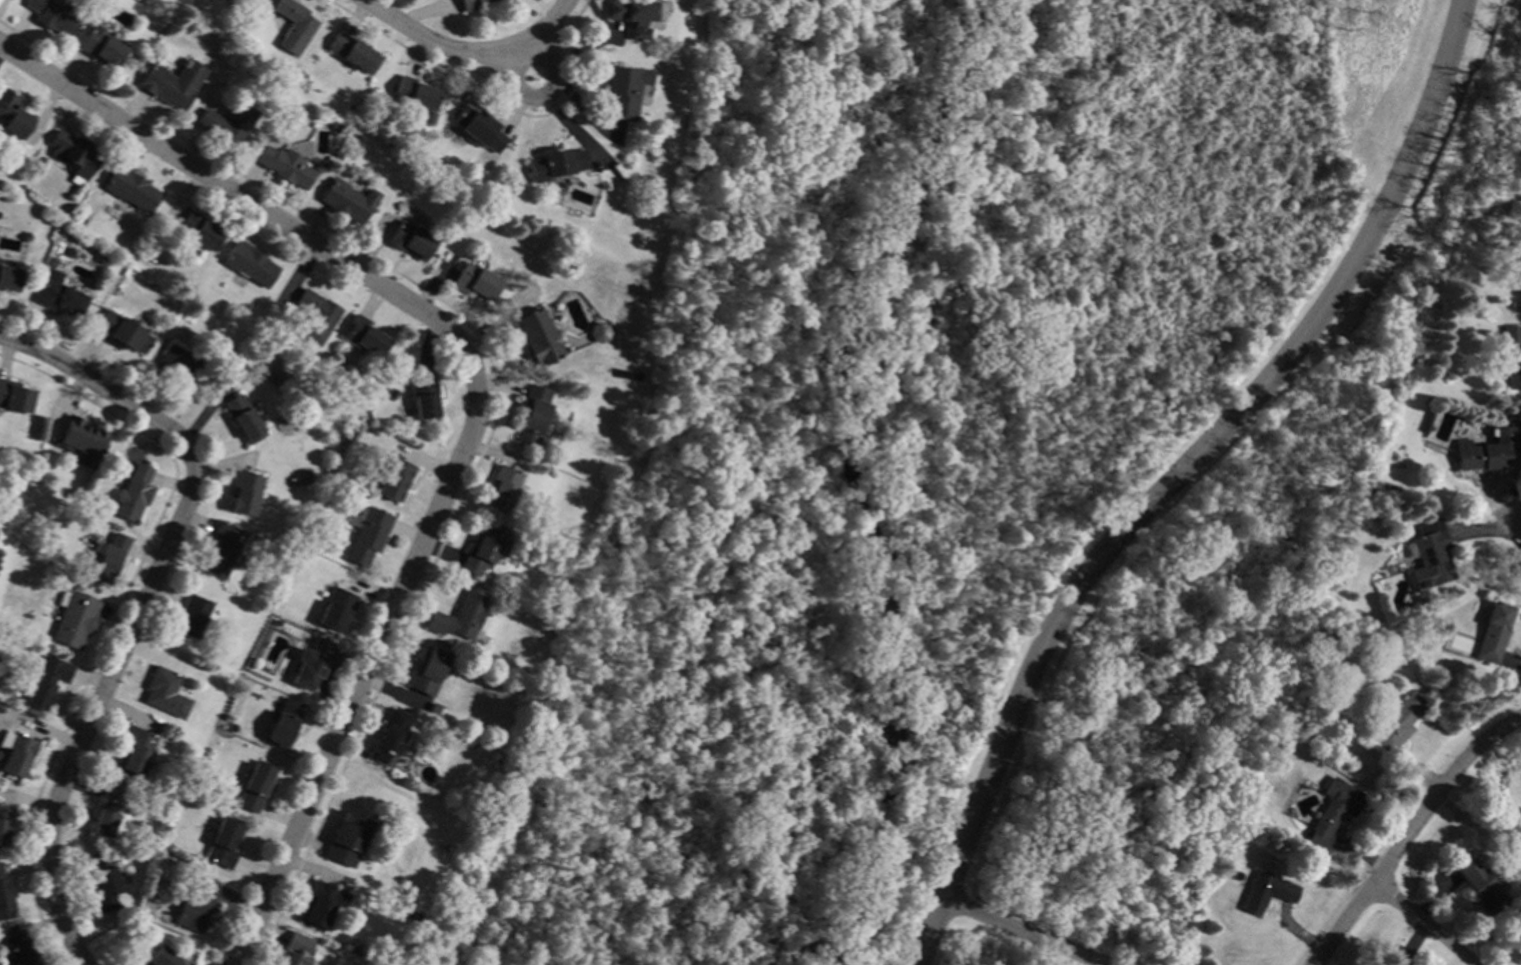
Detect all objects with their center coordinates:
building: (252, 1)
building: (469, 4)
building: (630, 16)
building: (53, 17)
building: (293, 26)
building: (101, 48)
road: (468, 52)
building: (352, 53)
road: (523, 55)
building: (172, 84)
road: (515, 90)
building: (621, 93)
building: (411, 94)
building: (270, 106)
building: (12, 116)
building: (228, 123)
building: (334, 127)
building: (477, 129)
building: (73, 155)
building: (553, 164)
building: (286, 167)
building: (130, 188)
building: (344, 202)
building: (398, 206)
building: (197, 232)
building: (25, 237)
building: (409, 241)
building: (71, 253)
building: (1515, 255)
building: (54, 262)
building: (248, 264)
building: (102, 269)
building: (567, 272)
building: (9, 276)
building: (473, 282)
building: (1518, 284)
building: (60, 295)
building: (316, 316)
building: (123, 332)
building: (596, 333)
building: (362, 337)
building: (536, 338)
building: (1509, 357)
building: (178, 368)
building: (625, 375)
building: (14, 396)
building: (421, 397)
road: (473, 404)
building: (531, 416)
building: (242, 419)
building: (1430, 423)
building: (81, 441)
building: (1480, 456)
road: (1176, 476)
park: (986, 478)
building: (392, 479)
building: (500, 488)
river: (850, 489)
building: (132, 494)
building: (244, 494)
road: (1518, 523)
building: (367, 537)
building: (96, 546)
building: (221, 550)
building: (480, 550)
building: (108, 558)
building: (1428, 558)
road: (150, 582)
building: (336, 610)
building: (191, 617)
building: (458, 618)
building: (74, 619)
building: (1492, 633)
building: (310, 665)
building: (428, 672)
building: (44, 682)
building: (164, 693)
building: (283, 723)
building: (1394, 724)
building: (389, 739)
building: (135, 750)
building: (16, 753)
building: (256, 787)
building: (106, 811)
building: (1331, 814)
building: (5, 824)
road: (1408, 832)
building: (347, 840)
building: (223, 843)
building: (105, 884)
building: (1478, 886)
building: (1266, 892)
building: (6, 897)
building: (195, 904)
building: (320, 904)
road: (1421, 923)
road: (1020, 932)
road: (74, 944)
building: (296, 950)
building: (20, 955)
building: (161, 957)
building: (1394, 961)

